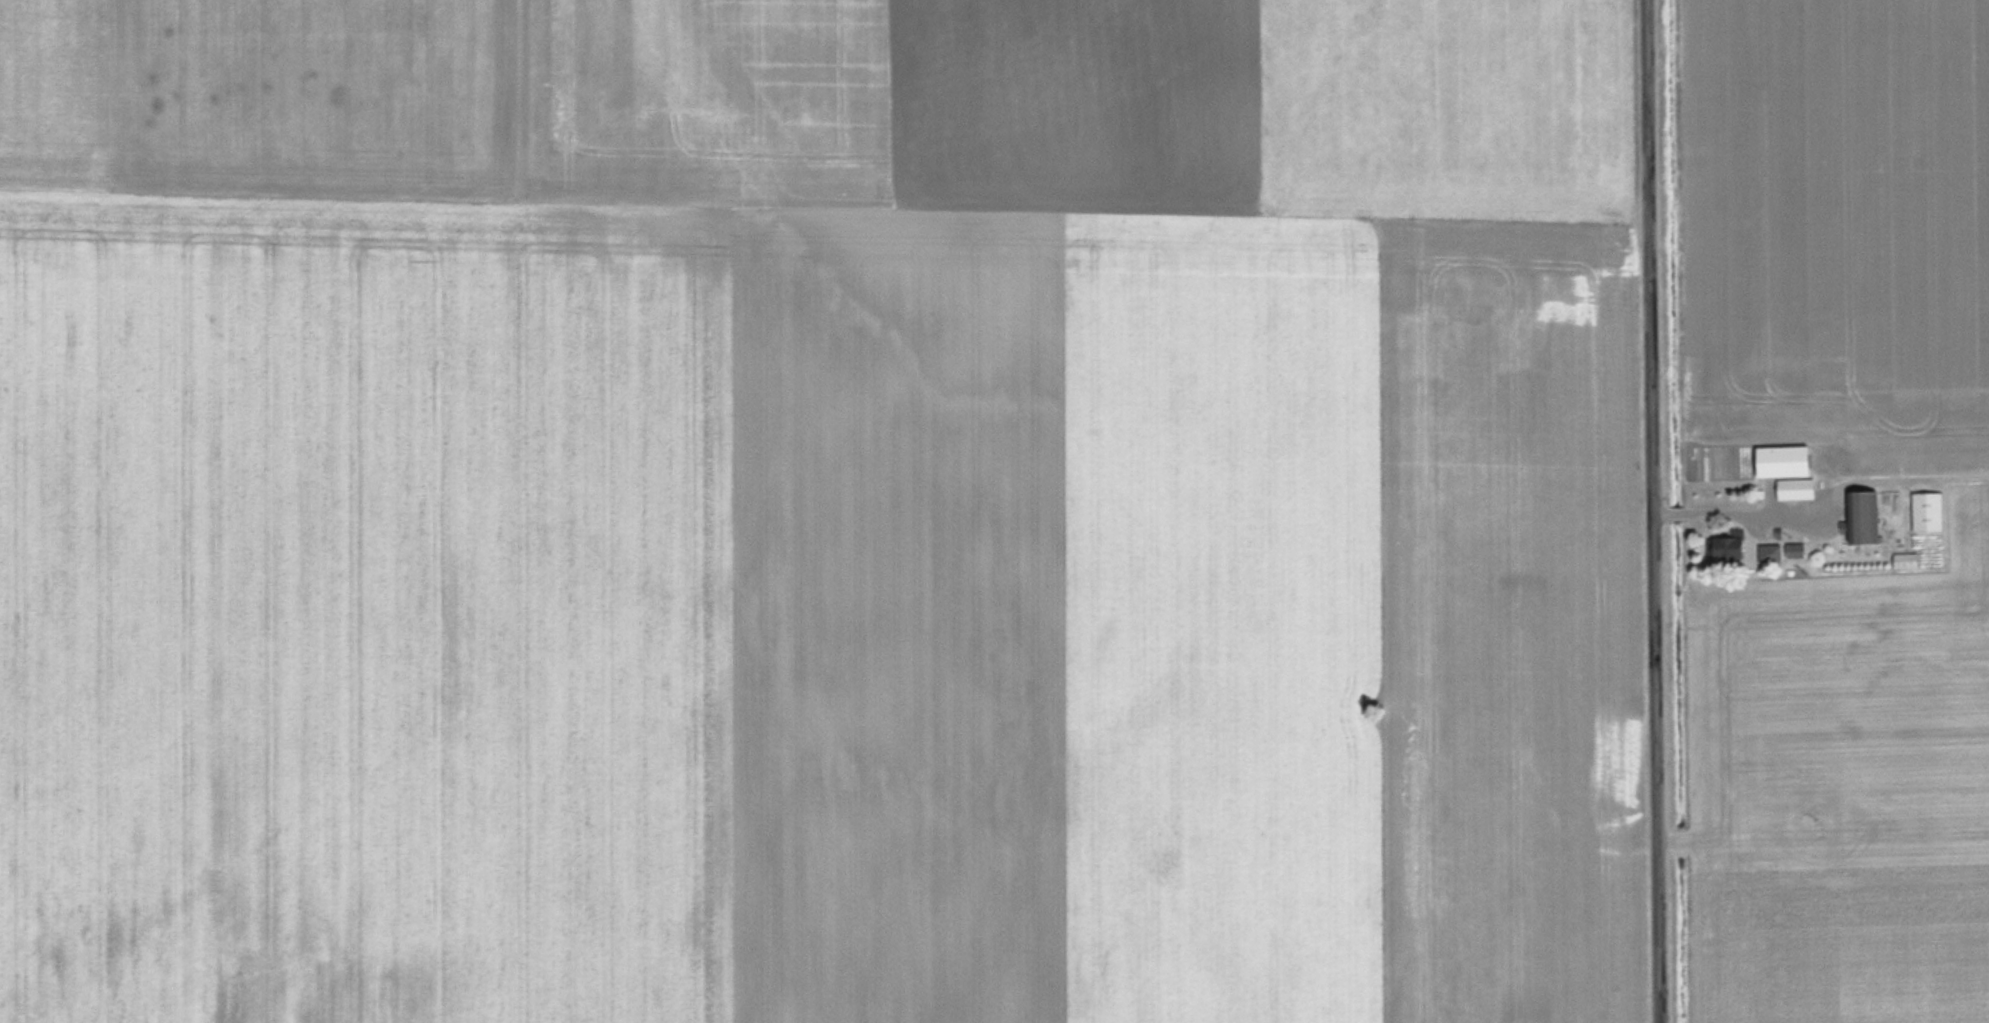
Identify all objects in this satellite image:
building: (1784, 470)
road: (1656, 511)
building: (1925, 511)
building: (1861, 516)
building: (1723, 546)
building: (1769, 552)
building: (1792, 552)
building: (1904, 559)

